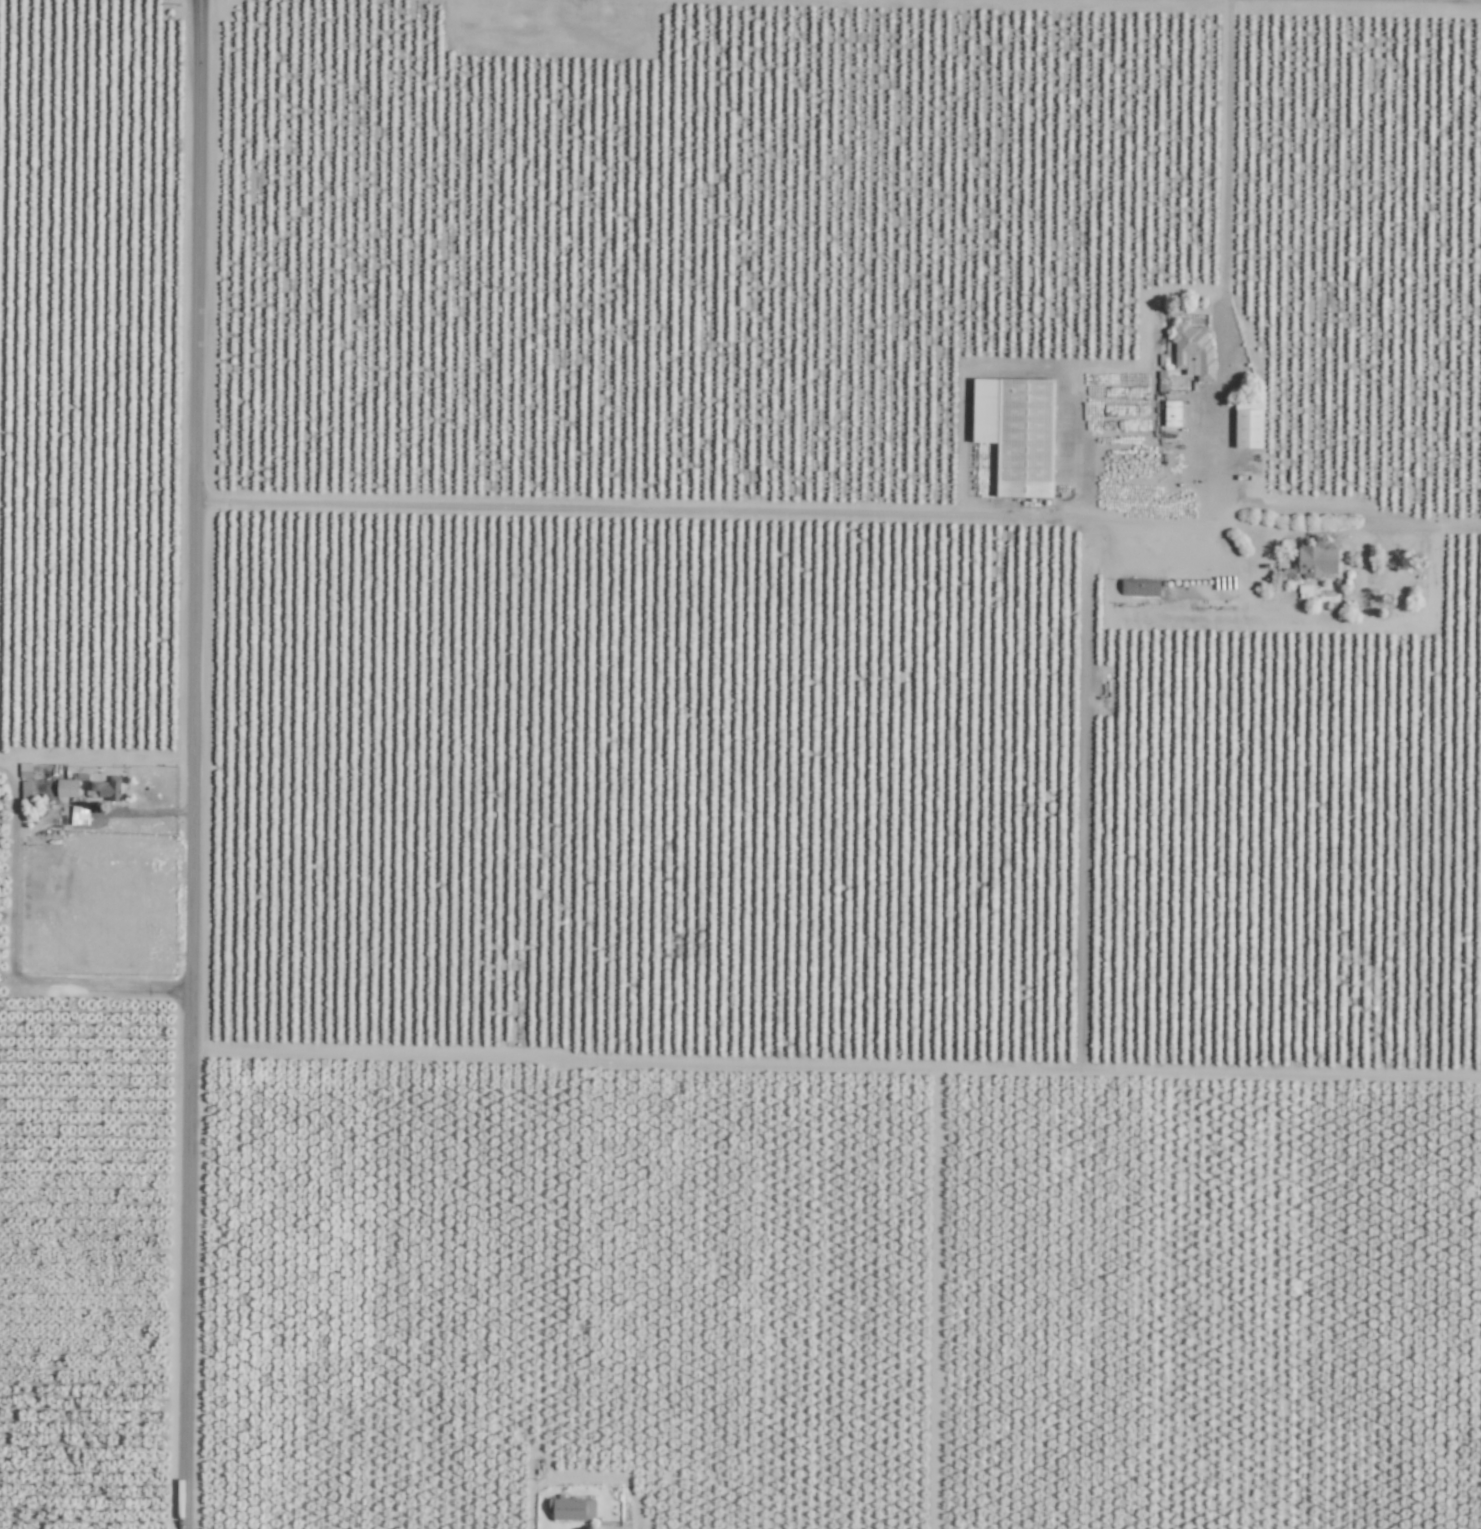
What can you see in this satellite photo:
road: (1221, 251)
building: (1192, 350)
building: (1171, 413)
building: (1014, 435)
road: (841, 511)
building: (1139, 587)
building: (1304, 592)
road: (195, 764)
building: (66, 788)
building: (107, 788)
road: (156, 813)
building: (78, 815)
road: (13, 869)
building: (571, 1508)
building: (610, 1526)

